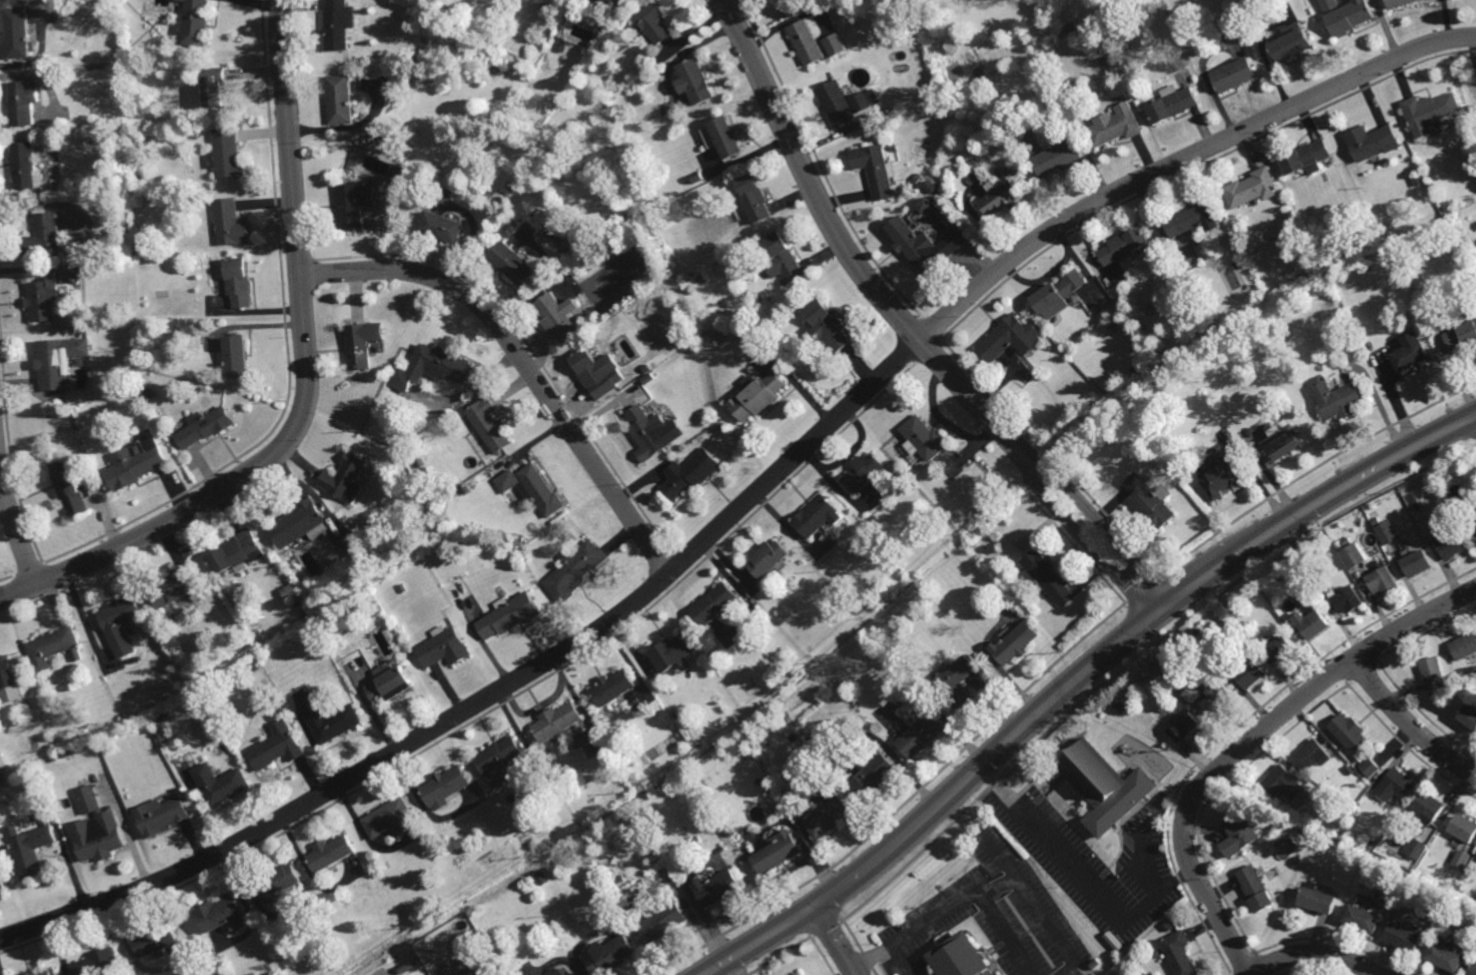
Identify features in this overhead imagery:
building: (619, 2)
building: (1396, 3)
building: (388, 7)
building: (62, 14)
building: (1344, 14)
building: (652, 22)
building: (197, 23)
building: (338, 23)
building: (1070, 27)
building: (17, 32)
building: (805, 41)
building: (833, 43)
building: (1289, 44)
building: (1231, 75)
building: (694, 80)
building: (214, 86)
building: (339, 98)
building: (860, 101)
building: (22, 102)
building: (836, 103)
building: (1171, 103)
building: (1428, 111)
building: (1114, 128)
building: (724, 137)
building: (1371, 141)
building: (226, 154)
building: (1055, 158)
building: (1304, 158)
building: (23, 165)
building: (873, 170)
building: (1010, 170)
building: (398, 173)
building: (915, 177)
building: (694, 178)
building: (928, 187)
building: (1250, 188)
building: (752, 199)
building: (998, 199)
building: (352, 203)
building: (1190, 218)
building: (229, 223)
building: (440, 226)
building: (1301, 235)
building: (42, 238)
building: (1122, 246)
building: (910, 247)
building: (1321, 251)
building: (782, 258)
building: (510, 263)
building: (236, 283)
building: (1066, 294)
building: (41, 299)
building: (557, 317)
road: (906, 323)
building: (825, 326)
building: (1460, 334)
building: (1008, 337)
building: (361, 343)
building: (1409, 352)
building: (234, 355)
building: (58, 360)
road: (521, 360)
building: (430, 366)
building: (595, 369)
building: (647, 376)
building: (627, 379)
road: (307, 387)
building: (151, 391)
building: (757, 394)
building: (1338, 396)
building: (488, 422)
building: (720, 424)
building: (205, 425)
building: (646, 431)
building: (923, 436)
building: (1282, 440)
building: (138, 447)
building: (134, 465)
building: (1441, 469)
building: (865, 470)
building: (689, 472)
building: (343, 476)
building: (1221, 478)
building: (69, 486)
building: (465, 487)
building: (532, 487)
building: (1414, 495)
road: (748, 499)
building: (1148, 500)
building: (1417, 504)
building: (1473, 511)
building: (815, 514)
building: (1376, 519)
building: (297, 522)
road: (15, 530)
building: (1387, 530)
building: (567, 532)
building: (437, 535)
building: (1347, 539)
building: (1023, 541)
building: (348, 543)
building: (1339, 543)
building: (1452, 544)
building: (522, 550)
building: (236, 551)
building: (381, 552)
building: (1353, 554)
building: (768, 556)
building: (1417, 561)
building: (1303, 563)
building: (574, 569)
building: (1047, 575)
building: (1381, 577)
building: (173, 586)
building: (402, 587)
building: (287, 596)
building: (1346, 598)
building: (713, 603)
building: (1216, 608)
building: (509, 615)
building: (1312, 623)
building: (120, 624)
building: (1013, 642)
building: (1463, 645)
building: (52, 646)
building: (444, 647)
building: (1279, 647)
building: (671, 652)
building: (78, 653)
building: (7, 672)
building: (1432, 672)
building: (1249, 673)
road: (1076, 674)
building: (953, 680)
building: (388, 684)
building: (612, 686)
building: (1193, 692)
building: (1218, 697)
building: (1120, 703)
building: (1468, 716)
building: (126, 717)
building: (557, 720)
building: (330, 721)
road: (1408, 725)
building: (1185, 727)
building: (919, 732)
building: (1347, 732)
building: (812, 737)
road: (1248, 741)
building: (90, 743)
building: (274, 746)
building: (602, 747)
building: (498, 753)
building: (1311, 754)
building: (3, 760)
building: (30, 767)
building: (1368, 767)
building: (1347, 769)
building: (872, 776)
building: (1281, 782)
building: (219, 783)
building: (1394, 784)
building: (1104, 785)
building: (445, 786)
building: (1428, 805)
building: (1406, 814)
building: (161, 815)
building: (387, 816)
building: (828, 816)
building: (1433, 827)
building: (1463, 828)
building: (1237, 835)
building: (102, 838)
building: (1371, 844)
building: (1415, 848)
building: (30, 849)
building: (330, 852)
building: (777, 853)
building: (1296, 859)
building: (1460, 859)
building: (542, 876)
road: (1082, 876)
building: (2, 882)
building: (276, 884)
building: (717, 888)
building: (1253, 889)
road: (957, 900)
building: (1316, 901)
building: (1453, 910)
building: (220, 913)
building: (1361, 918)
building: (663, 922)
building: (1404, 937)
building: (157, 940)
road: (836, 940)
building: (1178, 953)
road: (1316, 954)
building: (609, 956)
building: (1133, 957)
building: (1444, 957)
building: (957, 958)
building: (99, 964)
building: (405, 966)
building: (1472, 969)
building: (564, 972)
building: (42, 973)
building: (800, 974)
building: (994, 974)

